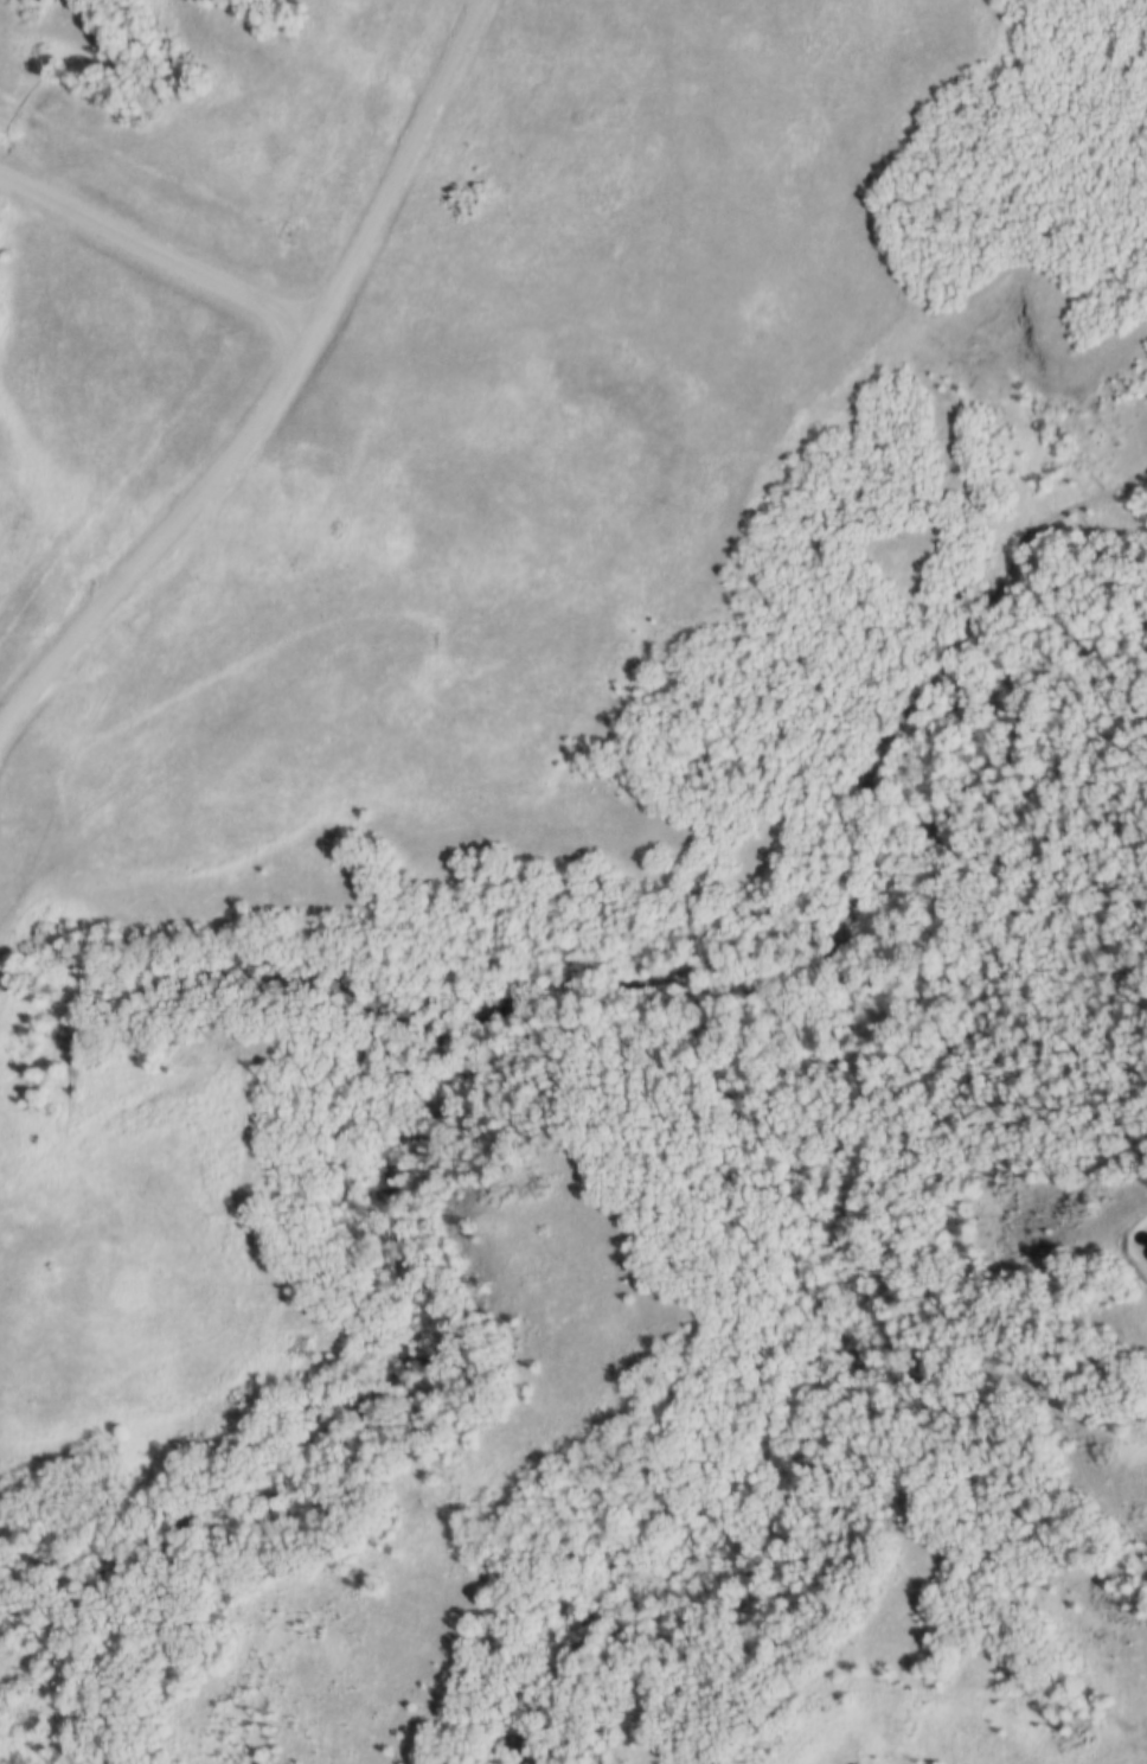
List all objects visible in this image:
road: (154, 247)
road: (275, 383)

